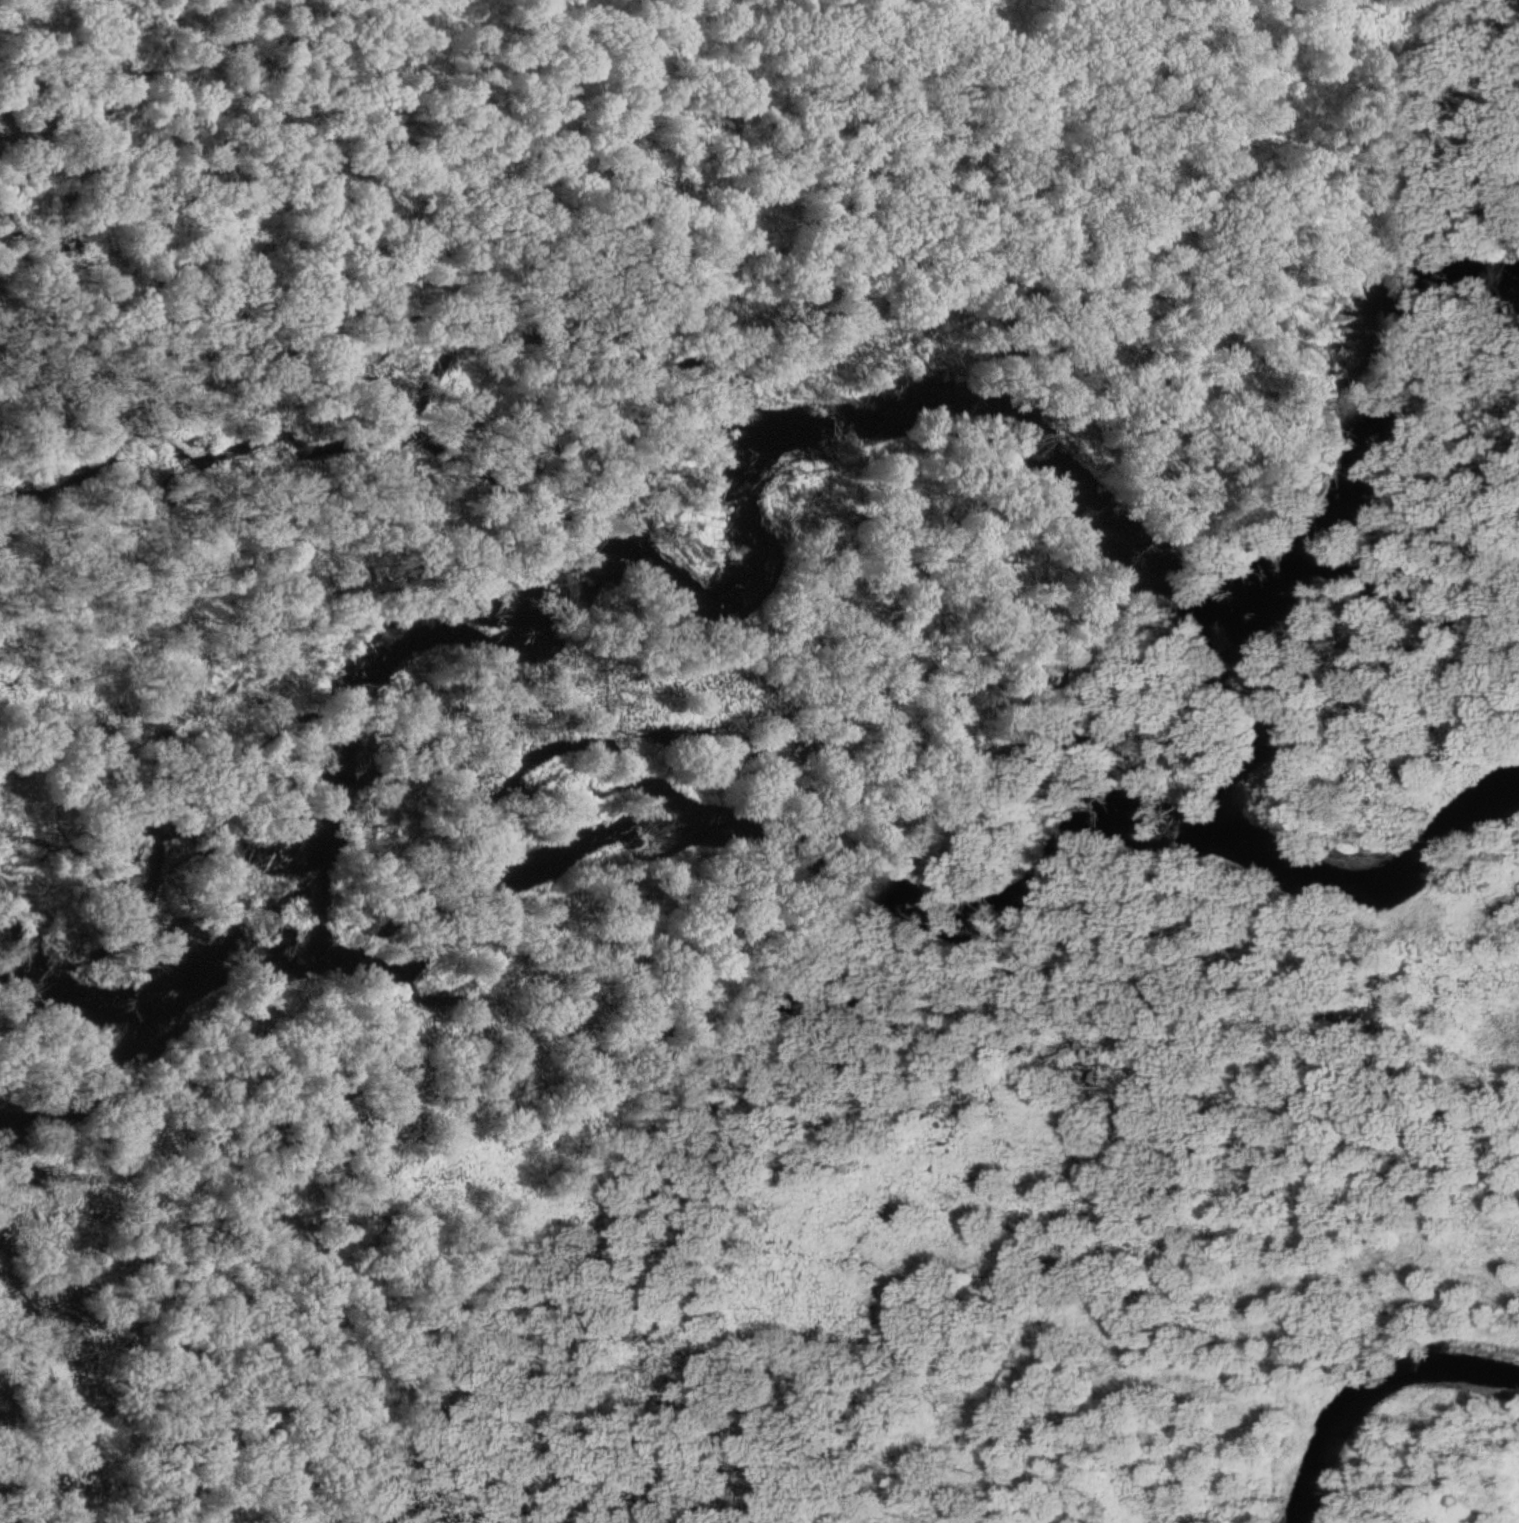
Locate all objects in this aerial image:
river: (1385, 1409)

